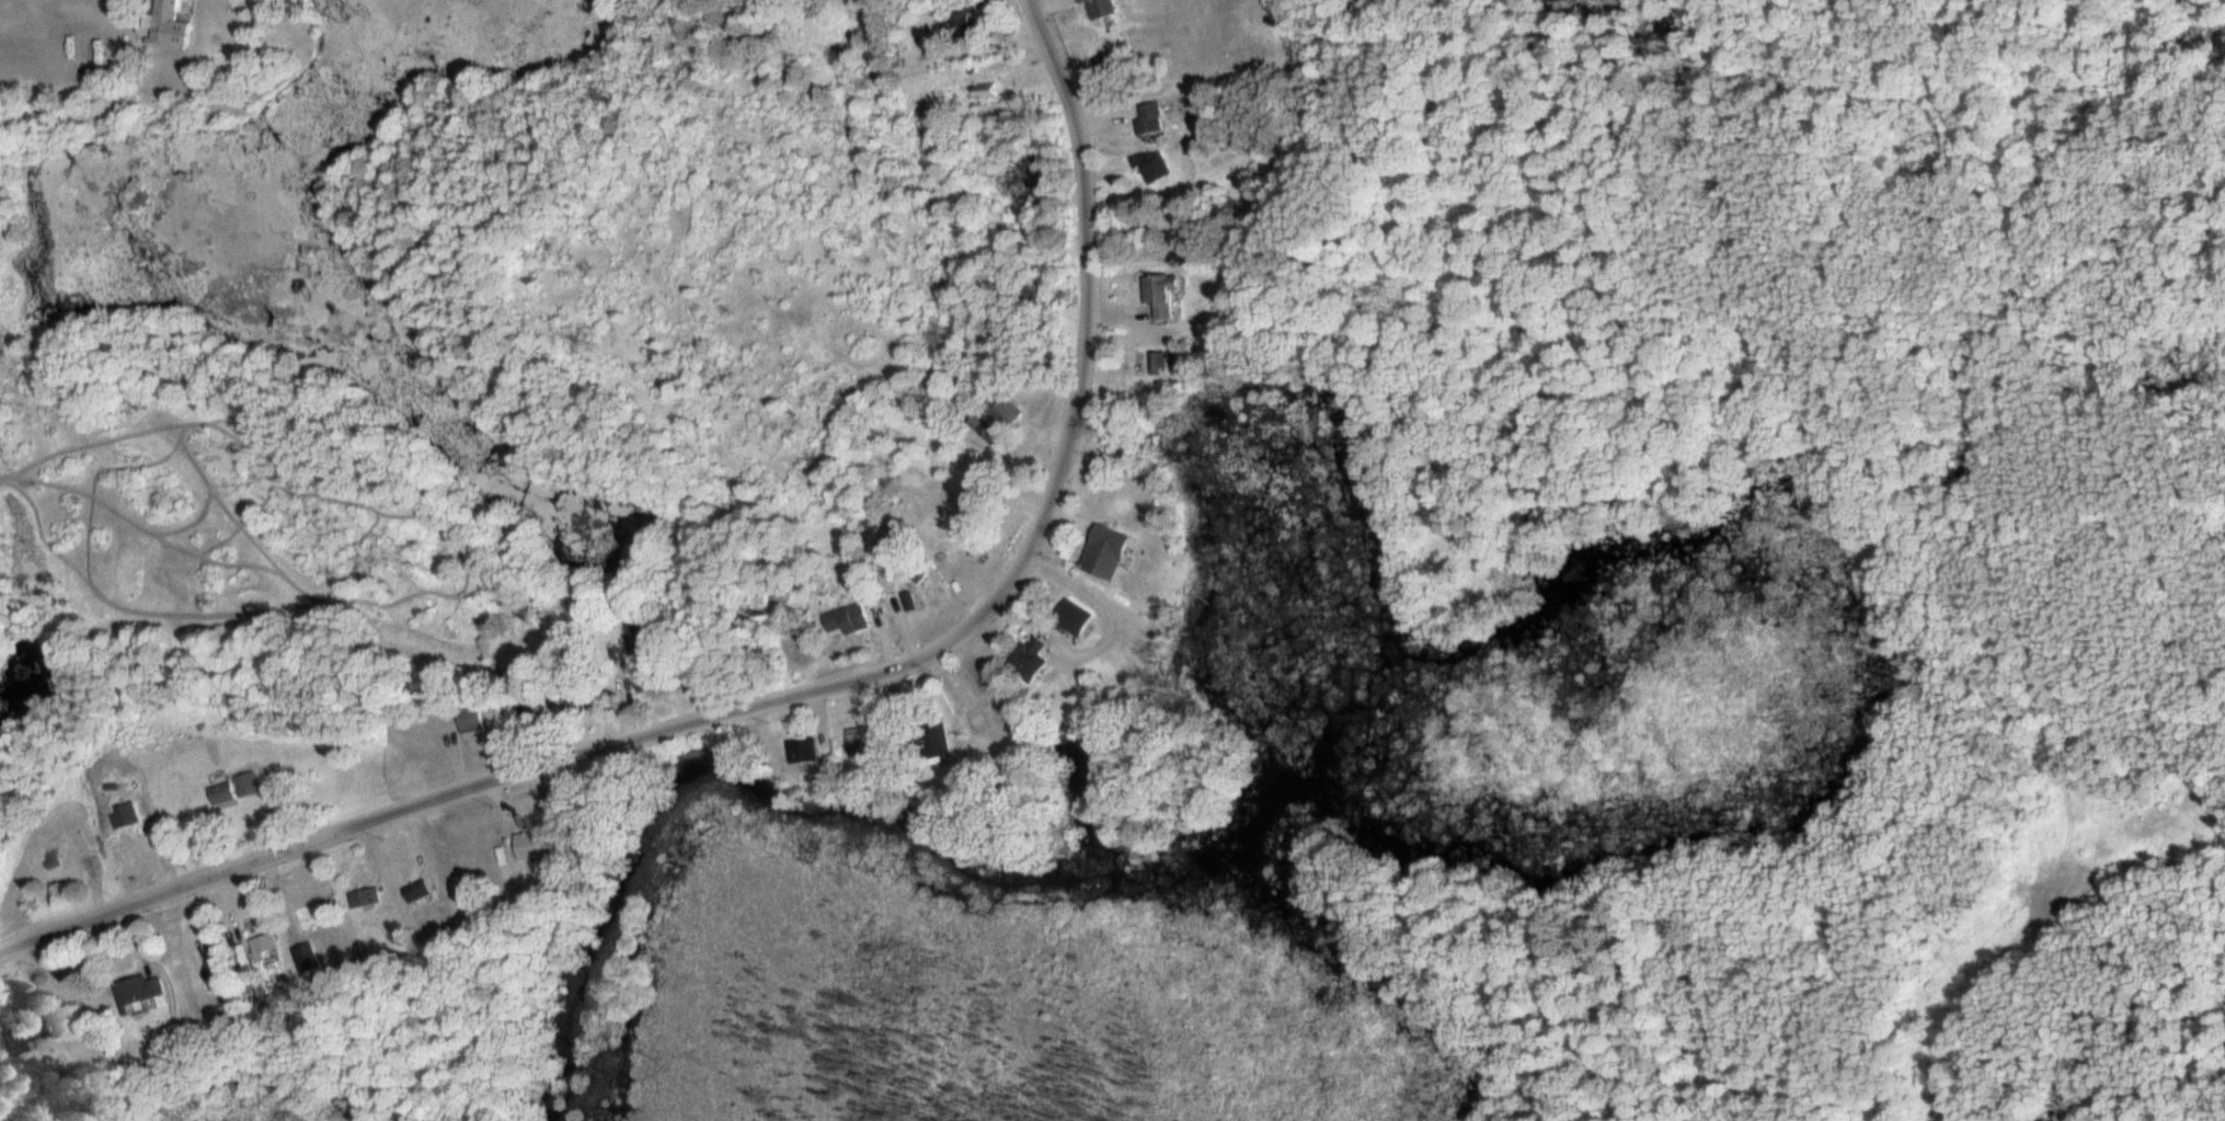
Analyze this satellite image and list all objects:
building: (1077, 0)
building: (1098, 7)
building: (957, 14)
building: (165, 24)
building: (983, 89)
building: (1145, 116)
building: (1151, 167)
building: (1160, 296)
building: (999, 411)
building: (1102, 551)
building: (1069, 617)
building: (846, 619)
building: (1024, 659)
road: (801, 684)
building: (524, 711)
building: (972, 716)
building: (467, 719)
building: (856, 740)
building: (931, 740)
building: (799, 751)
building: (231, 789)
building: (128, 816)
building: (525, 845)
building: (62, 848)
building: (414, 890)
building: (362, 897)
building: (261, 945)
building: (302, 957)
building: (210, 973)
building: (145, 992)
building: (19, 1041)

